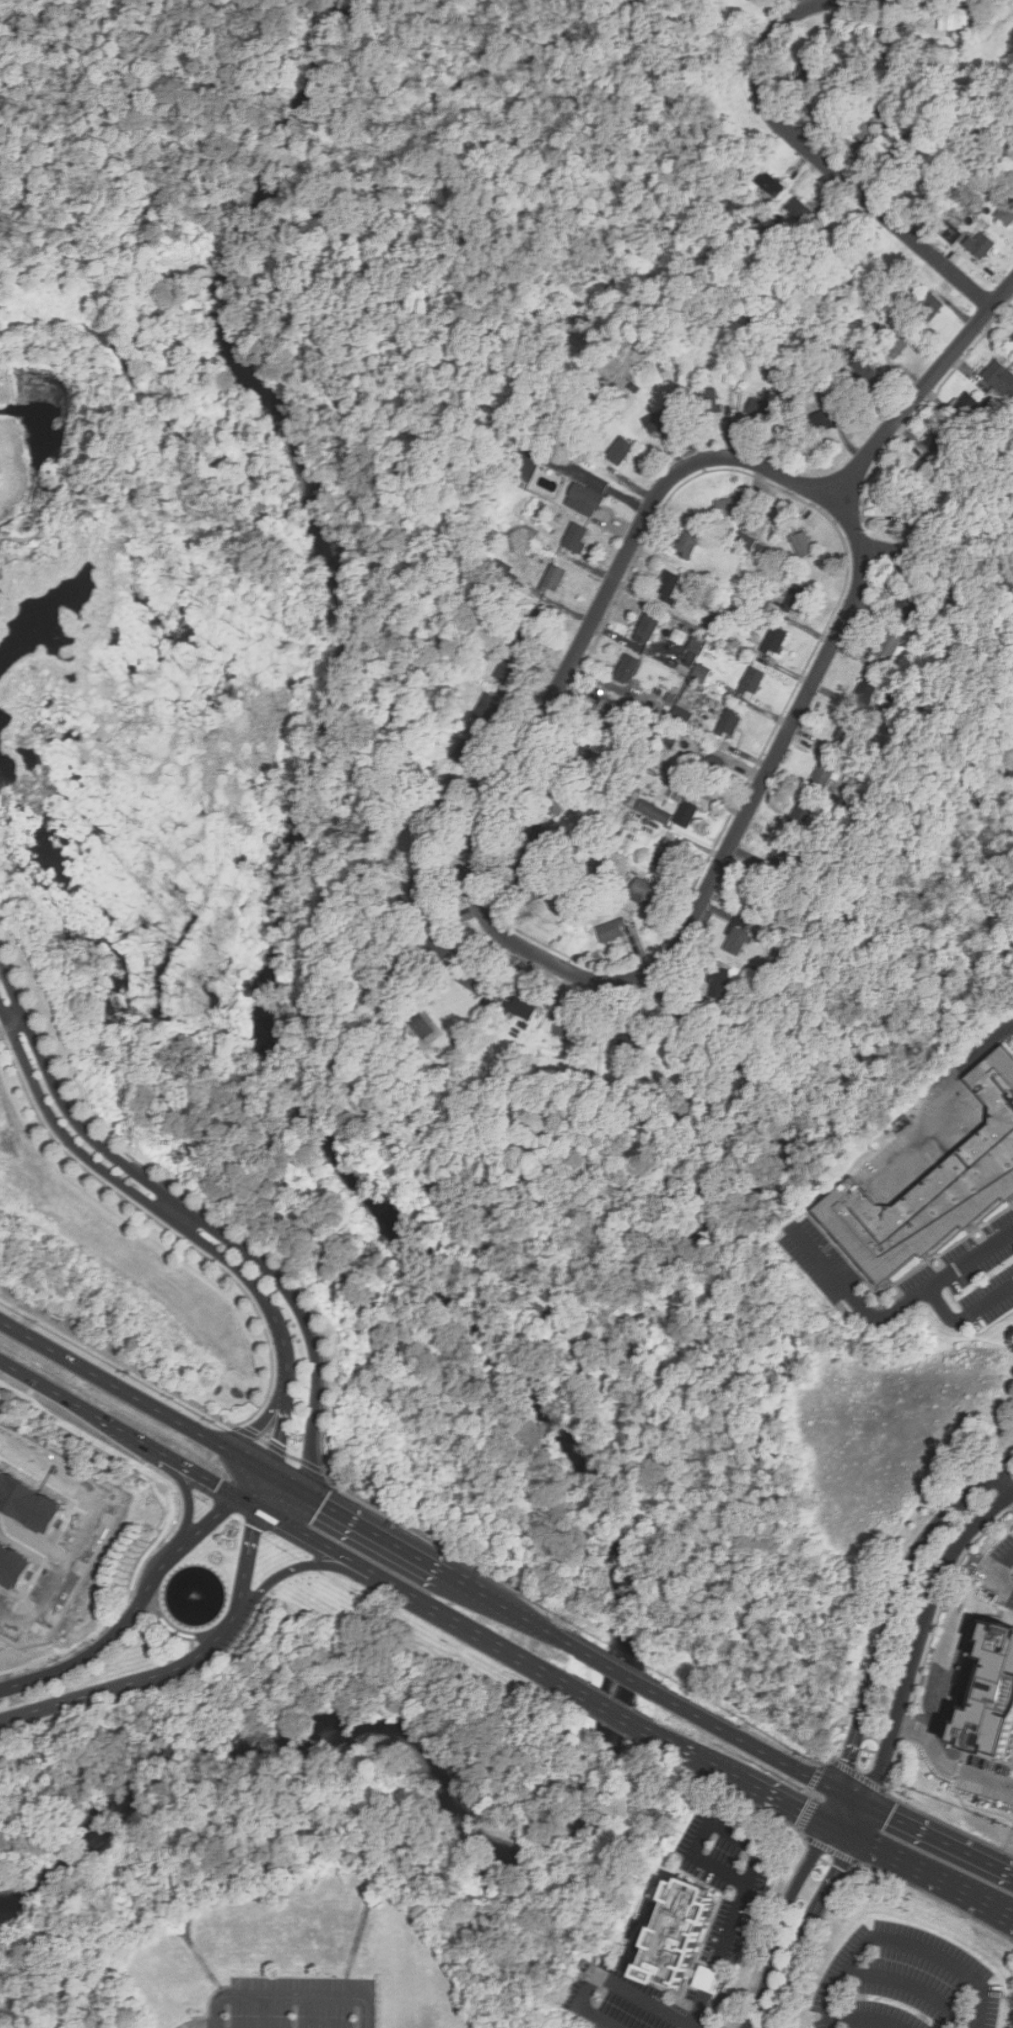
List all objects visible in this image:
building: (956, 19)
building: (881, 34)
building: (807, 75)
river: (308, 86)
building: (863, 132)
road: (820, 160)
building: (898, 163)
building: (770, 183)
building: (801, 210)
building: (1006, 213)
building: (953, 235)
river: (245, 237)
building: (839, 237)
building: (983, 249)
river: (232, 306)
building: (928, 307)
building: (1011, 341)
building: (896, 345)
building: (732, 373)
building: (999, 377)
building: (863, 378)
road: (921, 390)
building: (708, 401)
building: (967, 405)
building: (762, 406)
building: (663, 419)
building: (823, 420)
building: (938, 438)
building: (620, 450)
building: (908, 497)
building: (587, 500)
building: (728, 506)
building: (575, 538)
building: (745, 541)
building: (801, 542)
building: (687, 543)
building: (762, 551)
road: (902, 553)
building: (553, 578)
building: (667, 585)
building: (796, 598)
building: (908, 599)
building: (646, 628)
building: (680, 636)
building: (774, 639)
building: (887, 650)
building: (692, 655)
river: (346, 668)
building: (509, 668)
building: (626, 669)
building: (701, 673)
building: (751, 682)
building: (867, 686)
building: (490, 708)
building: (603, 713)
building: (681, 715)
building: (729, 721)
building: (847, 729)
building: (669, 736)
building: (468, 753)
building: (581, 758)
building: (707, 766)
building: (822, 775)
building: (452, 793)
building: (557, 800)
building: (685, 810)
building: (653, 811)
building: (800, 815)
building: (537, 837)
building: (433, 841)
building: (665, 855)
building: (781, 856)
road: (475, 889)
building: (529, 889)
building: (420, 890)
building: (643, 891)
building: (760, 897)
building: (610, 931)
building: (735, 939)
building: (440, 947)
building: (471, 981)
building: (718, 984)
building: (524, 1009)
road: (679, 1009)
building: (421, 1027)
building: (565, 1028)
building: (622, 1032)
road: (944, 1097)
building: (933, 1188)
road: (197, 1215)
road: (182, 1223)
river: (398, 1224)
road: (303, 1287)
road: (896, 1308)
road: (967, 1314)
road: (263, 1316)
road: (134, 1396)
road: (259, 1427)
road: (119, 1431)
road: (283, 1450)
traffic signals: (269, 1472)
road: (289, 1482)
road: (254, 1484)
road: (1005, 1485)
road: (264, 1490)
traffic signals: (310, 1493)
road: (193, 1495)
building: (29, 1496)
traffic signals: (240, 1497)
road: (250, 1503)
traffic signals: (260, 1509)
road: (101, 1518)
road: (377, 1534)
road: (336, 1551)
building: (13, 1562)
road: (299, 1567)
road: (998, 1574)
fountain: (201, 1592)
road: (488, 1599)
road: (897, 1608)
road: (135, 1611)
road: (551, 1635)
road: (486, 1641)
road: (915, 1654)
river: (622, 1658)
road: (181, 1667)
road: (617, 1672)
building: (988, 1690)
road: (605, 1710)
river: (249, 1739)
road: (696, 1760)
road: (946, 1766)
road: (835, 1790)
traffic signals: (839, 1792)
road: (785, 1804)
road: (833, 1808)
road: (840, 1830)
traffic signals: (853, 1836)
road: (754, 1868)
road: (926, 1871)
road: (1006, 1910)
parking lot: (742, 1912)
road: (1006, 1914)
road: (781, 1923)
road: (807, 1929)
building: (679, 1934)
road: (902, 1945)
road: (611, 1981)
parking lot: (911, 1982)
road: (912, 1984)
road: (293, 1994)
parking lot: (297, 2001)
road: (865, 2019)

